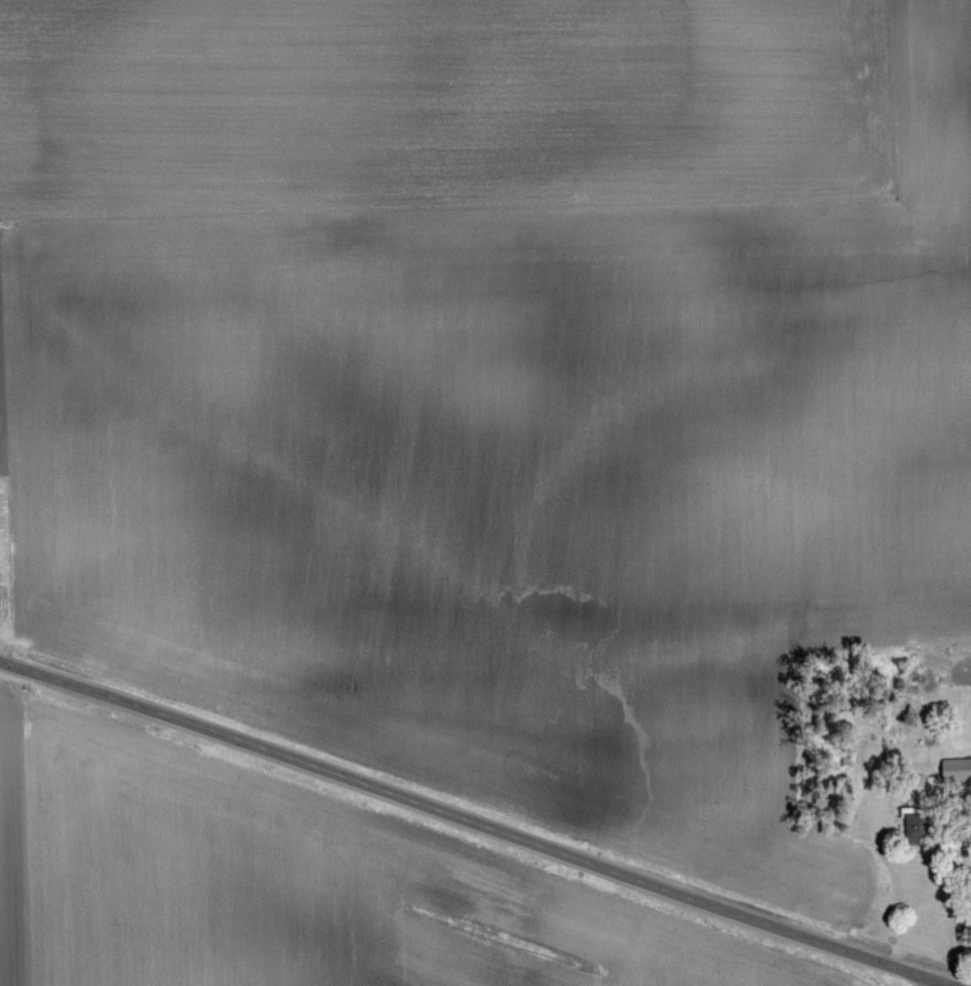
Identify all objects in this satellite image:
crop: (496, 384)
building: (958, 772)
road: (476, 822)
crop: (294, 884)
road: (928, 982)

